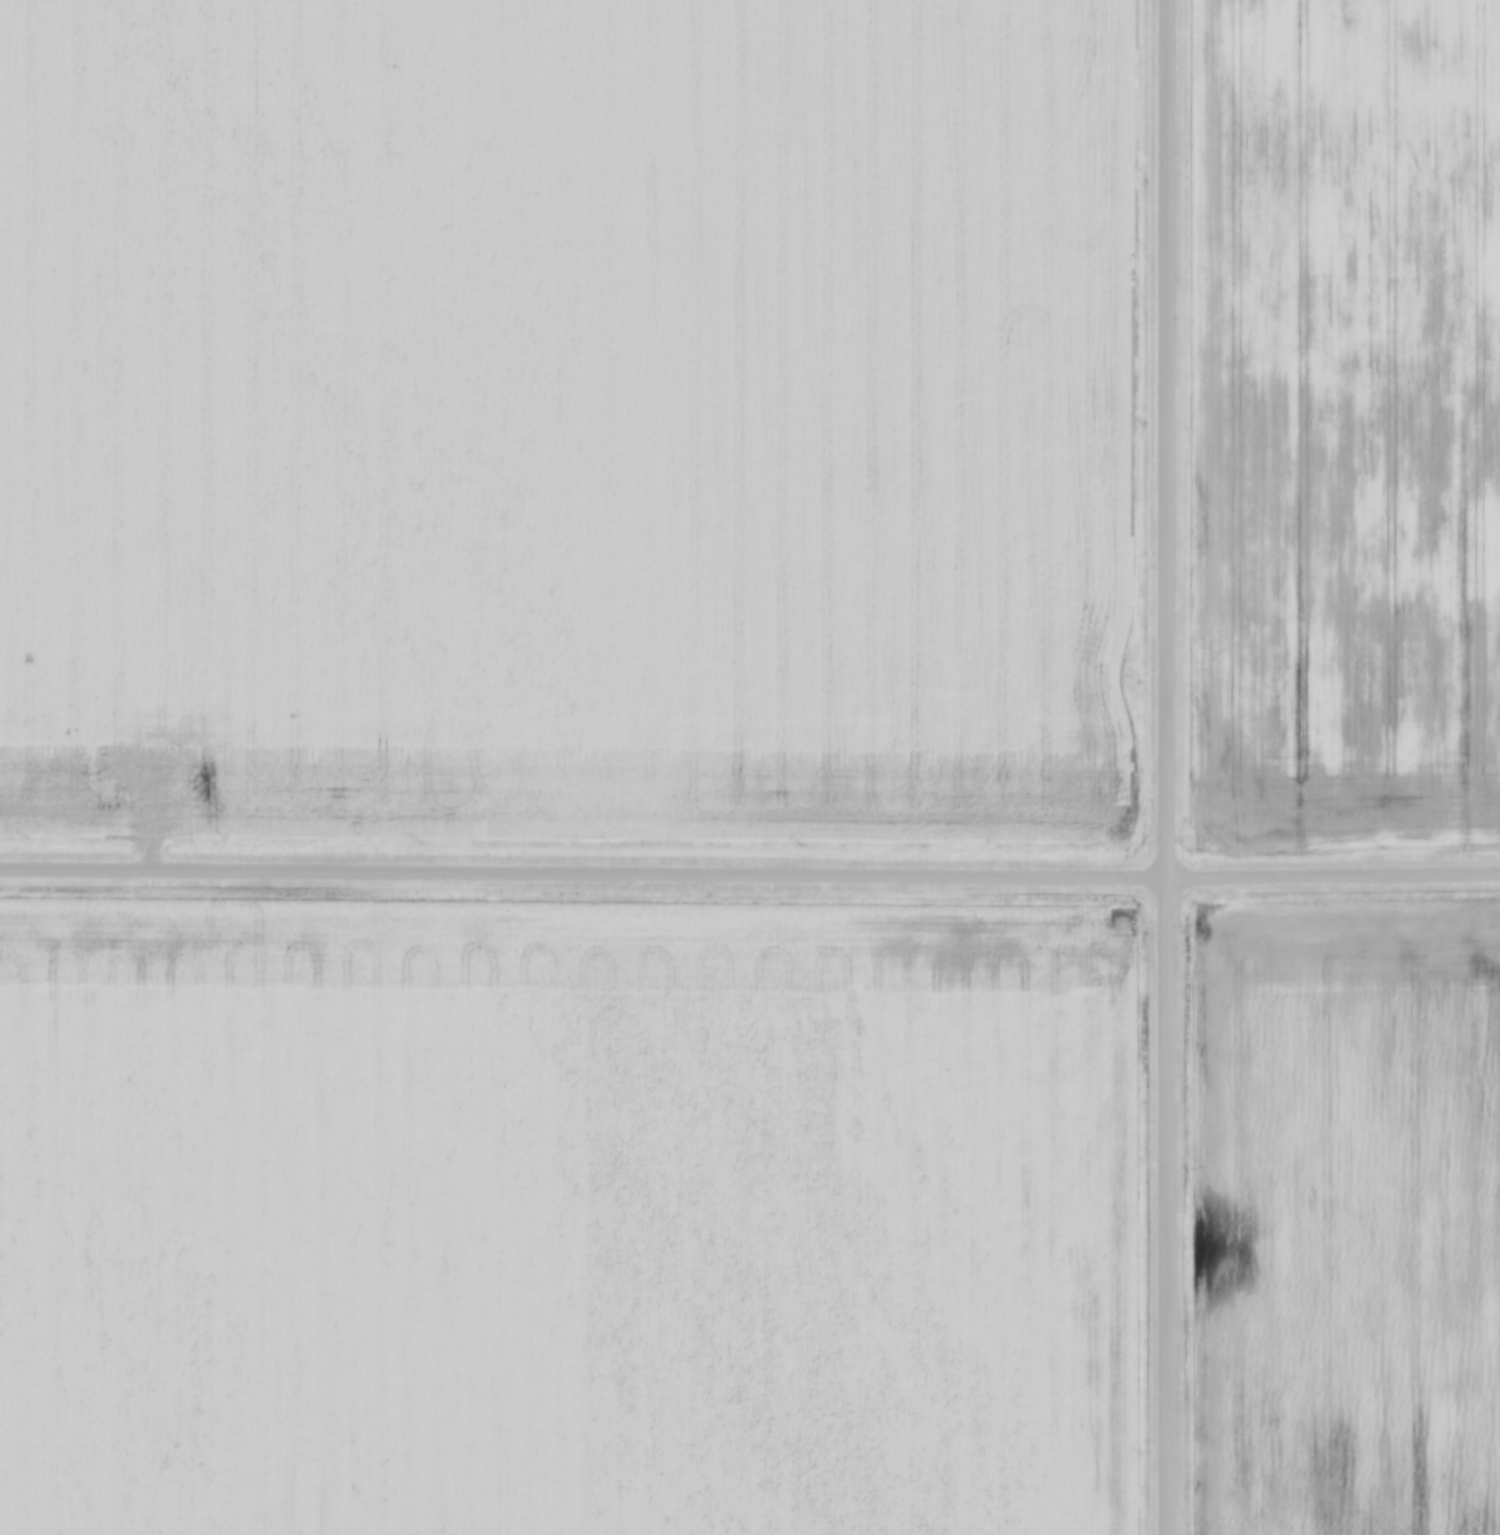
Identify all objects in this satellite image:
road: (1170, 767)
road: (749, 878)

